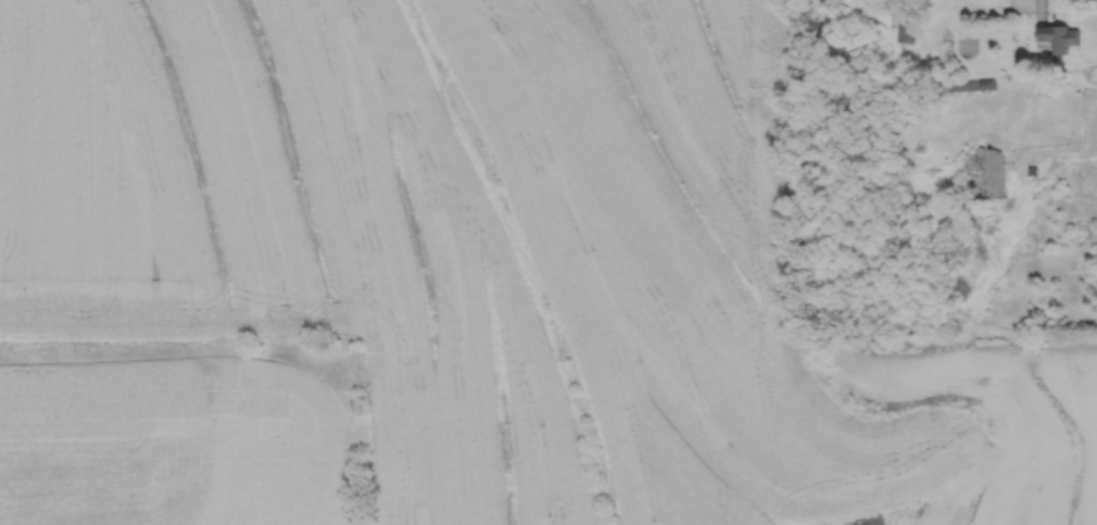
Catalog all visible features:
building: (1058, 35)
building: (971, 85)
building: (983, 175)

